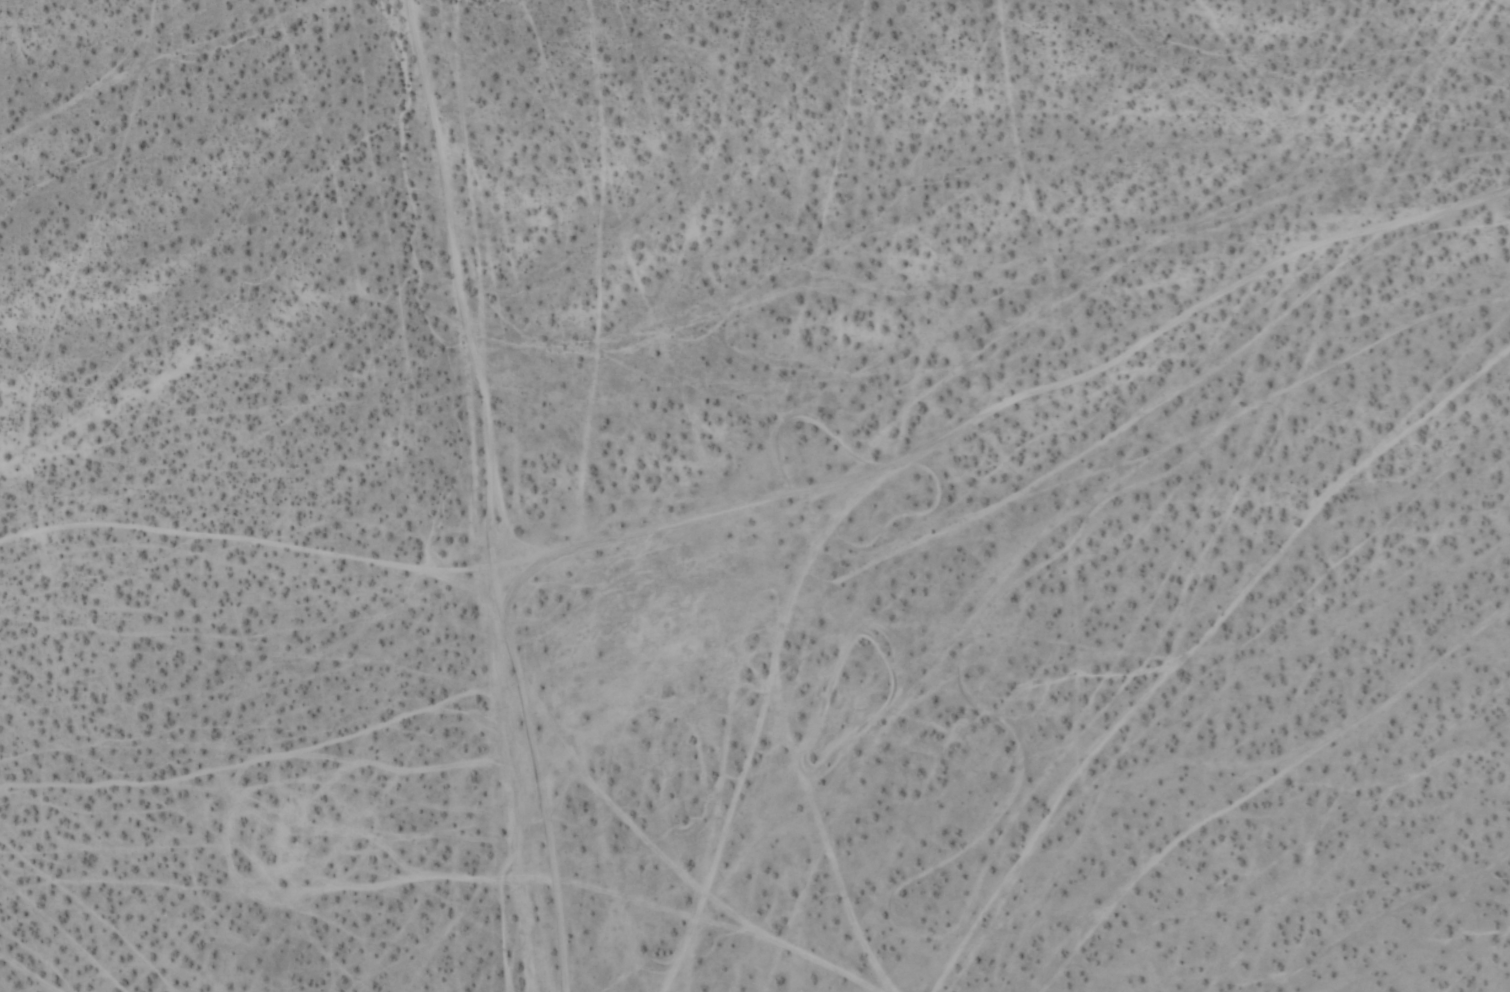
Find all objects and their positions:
crop: (755, 496)

